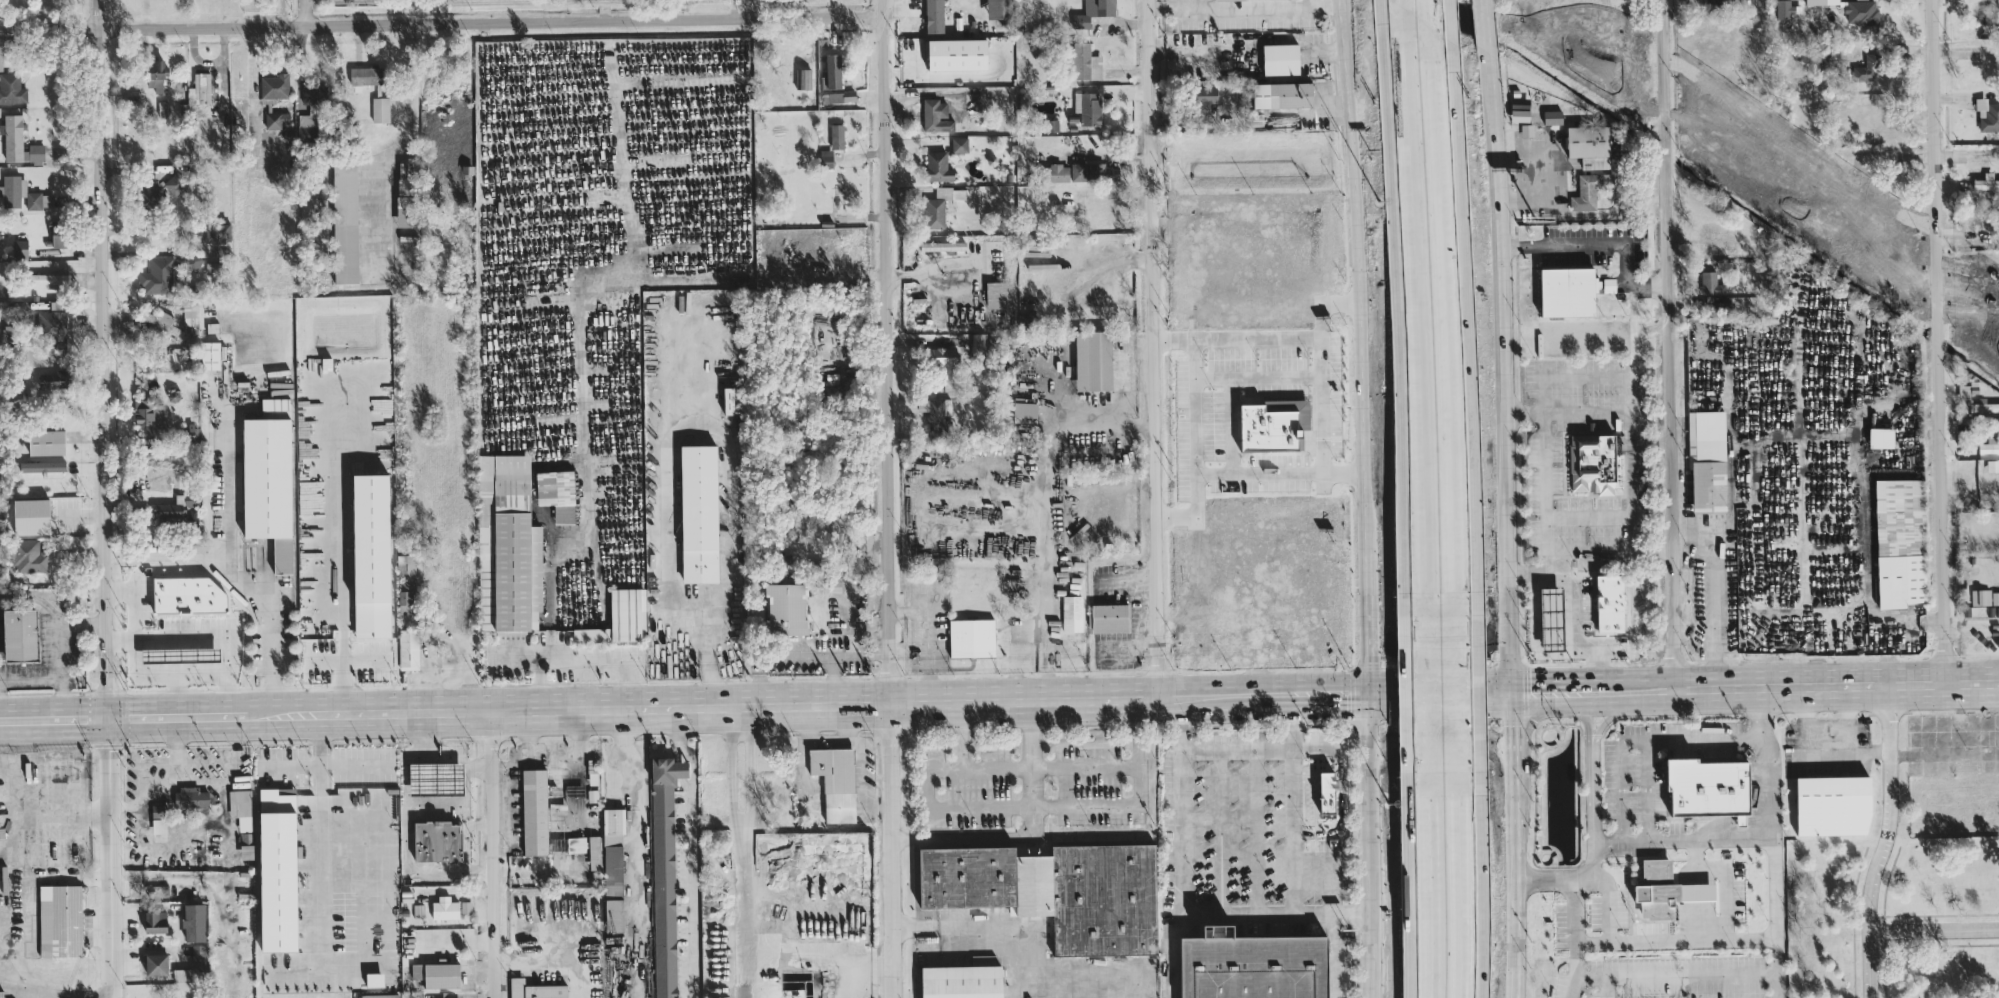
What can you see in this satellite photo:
building: (1822, 1)
road: (1312, 3)
road: (1402, 3)
building: (1998, 3)
road: (1244, 6)
road: (1484, 6)
building: (997, 8)
building: (1785, 8)
building: (1093, 11)
road: (1425, 11)
building: (1861, 11)
road: (306, 12)
building: (1987, 12)
building: (1577, 15)
building: (934, 16)
road: (445, 22)
road: (1486, 32)
building: (957, 53)
building: (1281, 58)
building: (1, 60)
building: (1085, 61)
building: (1868, 68)
building: (832, 71)
river: (1553, 72)
building: (156, 74)
building: (365, 75)
building: (803, 77)
building: (274, 85)
building: (12, 88)
building: (309, 93)
building: (1206, 94)
building: (1283, 94)
building: (199, 95)
building: (835, 96)
building: (1088, 107)
building: (380, 108)
building: (1987, 113)
building: (940, 114)
building: (1521, 114)
building: (1553, 116)
building: (276, 119)
building: (1051, 125)
building: (306, 126)
building: (836, 135)
building: (12, 136)
building: (959, 144)
building: (1590, 145)
building: (34, 152)
river: (1670, 154)
building: (826, 157)
road: (1110, 157)
building: (1806, 160)
building: (938, 166)
building: (1862, 167)
building: (1091, 171)
building: (1055, 172)
building: (1986, 181)
building: (176, 184)
building: (150, 188)
building: (1589, 190)
building: (23, 193)
building: (405, 197)
building: (941, 204)
building: (1888, 215)
building: (345, 222)
road: (155, 229)
road: (1209, 229)
building: (218, 232)
building: (59, 235)
road: (1352, 238)
building: (1871, 243)
building: (942, 245)
road: (1601, 245)
river: (1804, 246)
building: (19, 248)
building: (1890, 250)
road: (667, 273)
building: (954, 273)
road: (1105, 274)
building: (157, 275)
building: (49, 279)
building: (1711, 283)
building: (1609, 284)
building: (1985, 288)
building: (1568, 291)
building: (999, 294)
building: (19, 311)
building: (190, 313)
road: (1417, 319)
building: (53, 320)
building: (161, 321)
building: (1995, 325)
road: (1443, 327)
river: (1935, 338)
road: (1937, 339)
road: (1294, 342)
road: (1667, 342)
building: (978, 343)
road: (1155, 347)
building: (210, 355)
building: (943, 358)
building: (1093, 360)
river: (1972, 364)
road: (1502, 369)
building: (53, 380)
road: (584, 380)
road: (1542, 380)
road: (1262, 382)
building: (1968, 389)
road: (1054, 406)
building: (1985, 406)
building: (935, 409)
building: (1025, 409)
road: (1325, 409)
road: (1587, 411)
building: (149, 415)
road: (891, 419)
road: (700, 421)
road: (1233, 430)
building: (192, 431)
road: (1200, 432)
building: (1881, 437)
building: (46, 442)
building: (1989, 446)
building: (1708, 461)
building: (1594, 462)
building: (1993, 465)
building: (42, 466)
road: (1048, 470)
road: (1282, 476)
building: (269, 479)
road: (225, 493)
building: (557, 493)
road: (104, 499)
building: (175, 508)
road: (1367, 512)
building: (699, 513)
road: (1627, 516)
building: (192, 518)
road: (1632, 533)
building: (1900, 542)
building: (513, 548)
road: (1607, 551)
building: (29, 556)
road: (326, 556)
road: (1278, 561)
building: (406, 566)
road: (1534, 571)
road: (238, 580)
road: (1714, 586)
building: (188, 595)
building: (406, 595)
building: (1981, 596)
road: (138, 603)
building: (1611, 604)
road: (1535, 607)
building: (787, 608)
building: (1072, 613)
building: (1110, 617)
building: (620, 618)
building: (1553, 618)
gas station: (1553, 618)
road: (1366, 619)
road: (1575, 630)
building: (20, 634)
building: (972, 637)
road: (203, 643)
building: (408, 649)
road: (843, 653)
road: (1432, 654)
road: (709, 660)
road: (172, 678)
road: (1807, 682)
road: (1573, 687)
road: (1600, 687)
traffic signals: (1510, 688)
traffic signals: (1365, 691)
road: (178, 695)
road: (916, 696)
road: (1464, 705)
road: (1416, 706)
road: (259, 711)
road: (176, 713)
traffic signals: (107, 714)
road: (53, 715)
road: (1586, 716)
road: (1610, 717)
road: (1441, 732)
road: (1825, 734)
road: (1639, 738)
road: (1511, 740)
road: (1974, 751)
road: (1853, 754)
road: (964, 768)
road: (1122, 768)
road: (318, 770)
building: (436, 778)
road: (749, 780)
building: (835, 781)
building: (1710, 787)
road: (1650, 790)
building: (1328, 791)
building: (190, 797)
road: (641, 800)
road: (1339, 800)
road: (1294, 802)
building: (1834, 805)
road: (1014, 807)
building: (241, 808)
building: (534, 811)
road: (1513, 813)
road: (1594, 817)
building: (158, 818)
road: (1037, 834)
road: (688, 836)
building: (436, 840)
road: (1884, 840)
road: (1679, 841)
road: (1766, 841)
building: (576, 844)
road: (1368, 844)
building: (594, 845)
road: (1186, 846)
road: (739, 847)
building: (247, 851)
road: (493, 852)
road: (319, 859)
building: (613, 869)
building: (278, 871)
building: (664, 873)
building: (967, 877)
building: (1034, 885)
road: (1467, 888)
road: (1422, 889)
building: (1666, 890)
building: (1104, 899)
building: (445, 909)
road: (1573, 909)
road: (1275, 914)
road: (1515, 915)
road: (900, 918)
building: (60, 921)
building: (155, 921)
building: (193, 922)
road: (16, 927)
road: (1934, 928)
road: (1686, 933)
road: (1675, 939)
road: (1032, 955)
building: (198, 957)
road: (19, 959)
road: (546, 961)
building: (157, 964)
building: (1253, 965)
road: (1680, 973)
building: (437, 974)
building: (181, 975)
road: (1592, 975)
building: (271, 978)
building: (962, 981)
building: (535, 989)
building: (1, 994)
road: (56, 995)
building: (380, 995)

